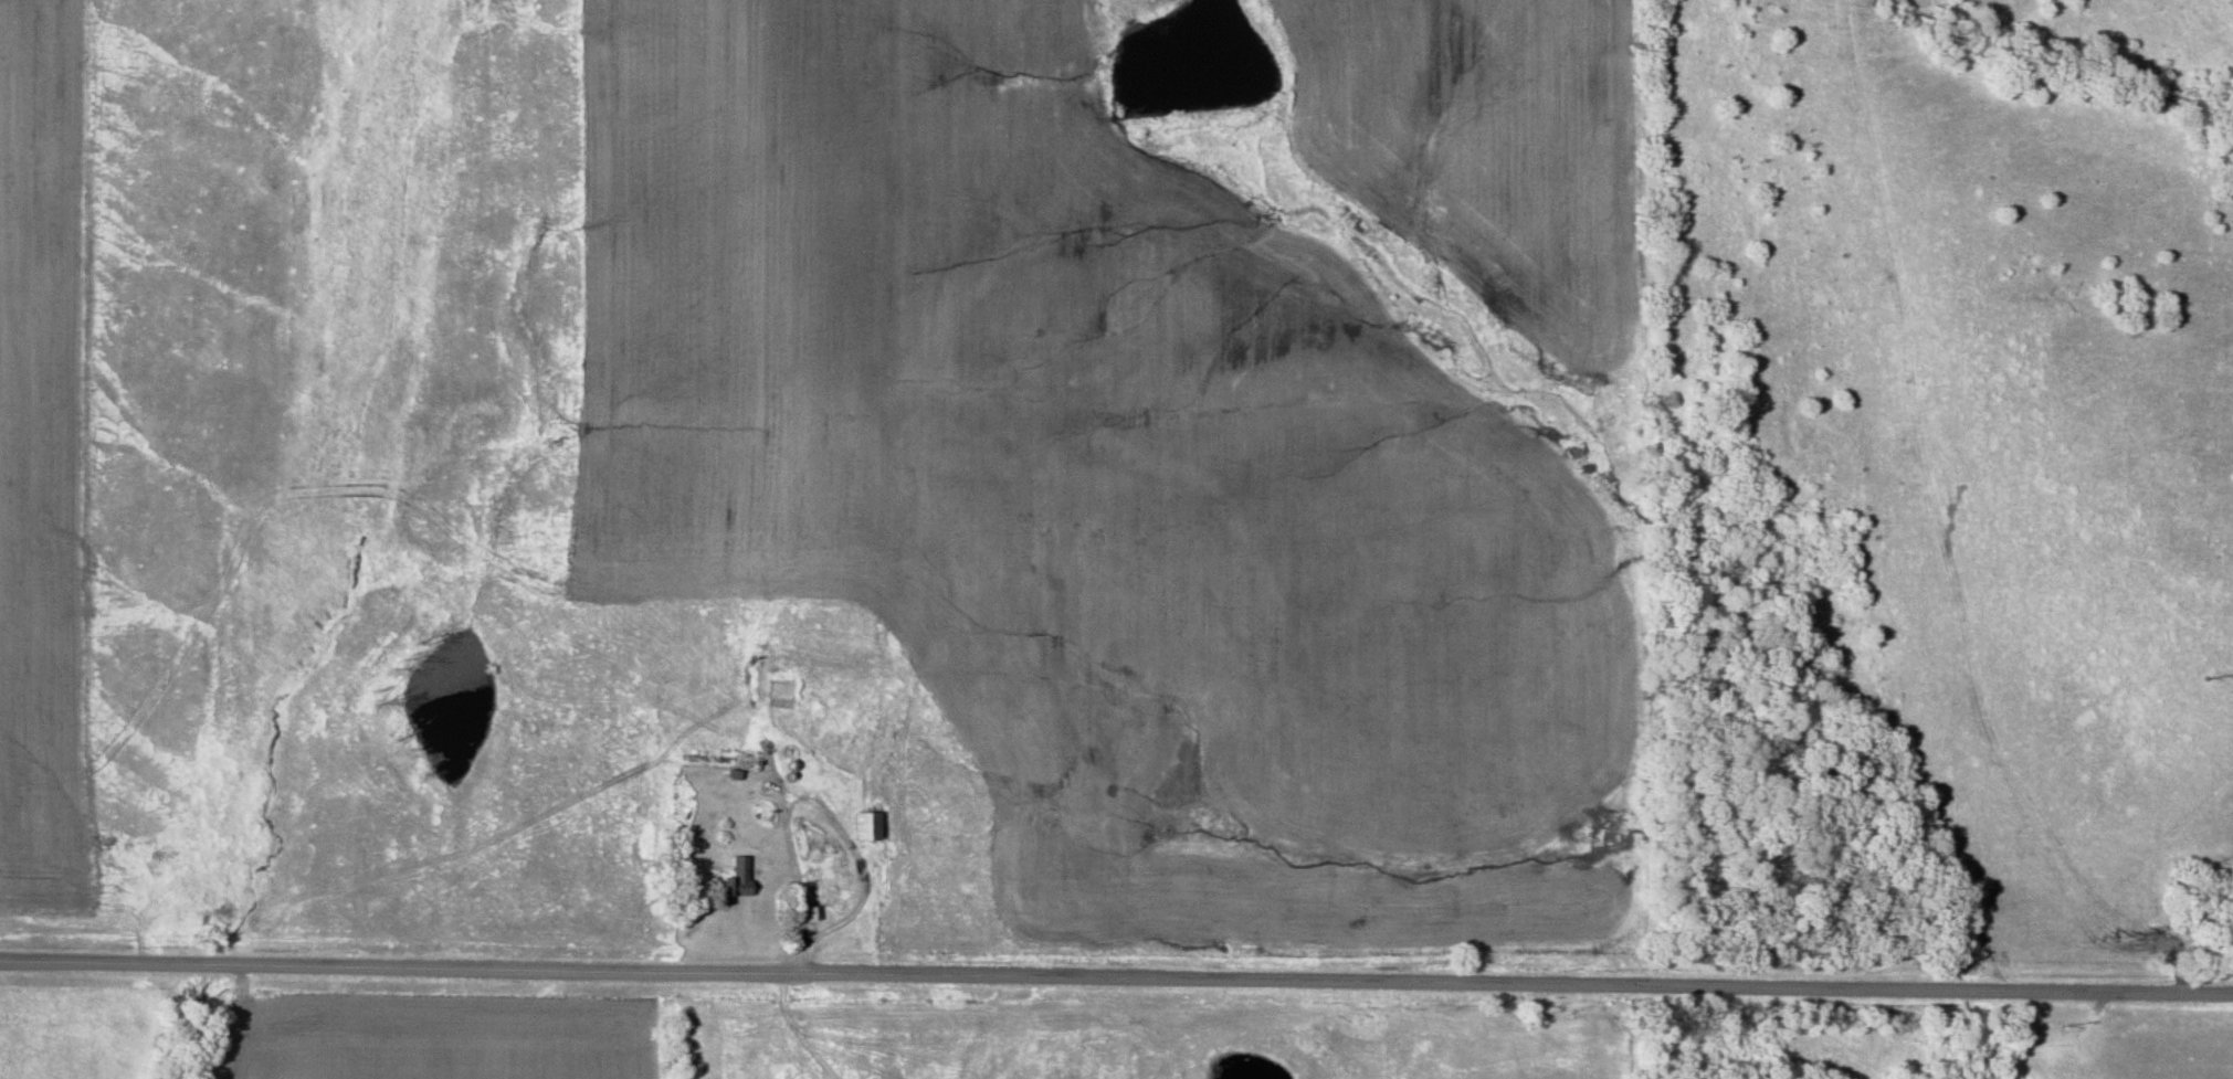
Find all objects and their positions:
building: (781, 685)
building: (865, 826)
building: (737, 879)
road: (807, 879)
road: (1116, 971)

